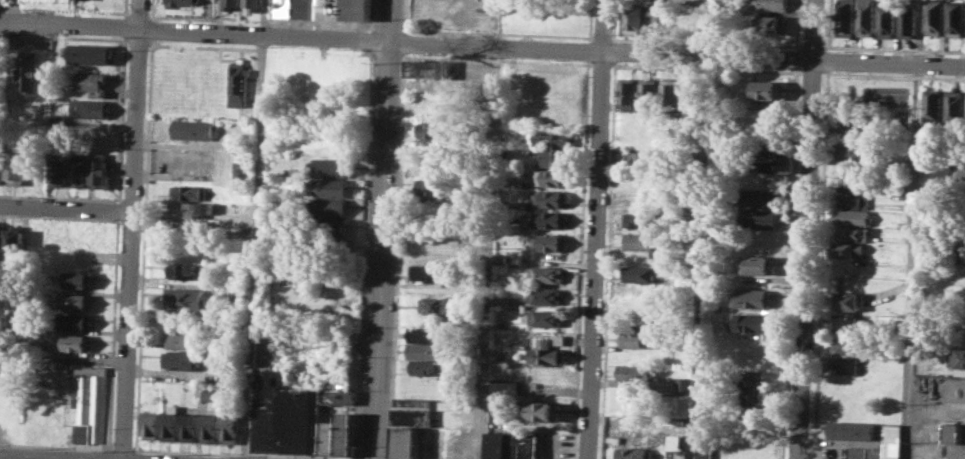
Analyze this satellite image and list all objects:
building: (177, 2)
building: (229, 3)
building: (251, 5)
building: (767, 5)
building: (325, 9)
road: (15, 11)
building: (633, 17)
building: (845, 17)
building: (865, 17)
building: (934, 17)
building: (956, 17)
building: (887, 18)
building: (663, 20)
building: (908, 21)
building: (772, 24)
road: (482, 46)
building: (87, 53)
building: (430, 69)
building: (28, 71)
building: (89, 81)
building: (238, 83)
building: (768, 89)
building: (651, 91)
building: (672, 91)
building: (630, 92)
building: (933, 104)
building: (954, 105)
building: (86, 107)
building: (192, 128)
building: (432, 130)
building: (850, 130)
building: (555, 138)
building: (770, 146)
building: (854, 151)
building: (555, 157)
building: (645, 158)
building: (776, 164)
building: (1, 165)
building: (18, 166)
building: (57, 167)
building: (324, 168)
building: (76, 170)
building: (98, 171)
building: (961, 171)
building: (241, 172)
building: (550, 177)
building: (640, 178)
building: (855, 183)
building: (434, 186)
building: (326, 187)
building: (962, 189)
building: (188, 191)
building: (552, 197)
building: (760, 197)
building: (638, 198)
building: (855, 200)
building: (327, 206)
road: (66, 207)
building: (189, 209)
building: (855, 217)
building: (760, 218)
building: (549, 219)
building: (638, 219)
building: (327, 228)
road: (132, 229)
road: (256, 229)
road: (382, 229)
road: (595, 229)
road: (699, 229)
road: (805, 229)
building: (853, 233)
building: (14, 239)
building: (551, 241)
building: (640, 241)
building: (847, 250)
road: (489, 253)
building: (961, 253)
building: (501, 258)
building: (517, 259)
road: (912, 262)
building: (757, 264)
building: (180, 269)
building: (431, 271)
building: (546, 273)
building: (639, 274)
building: (77, 279)
building: (239, 293)
building: (545, 295)
building: (754, 297)
building: (186, 298)
building: (848, 300)
building: (74, 301)
building: (512, 301)
building: (435, 306)
building: (546, 317)
building: (72, 320)
building: (752, 322)
building: (848, 322)
building: (424, 333)
building: (557, 339)
building: (632, 339)
building: (178, 340)
building: (544, 341)
building: (73, 343)
building: (268, 345)
building: (846, 345)
building: (749, 348)
building: (424, 350)
building: (547, 355)
building: (956, 358)
building: (180, 360)
building: (847, 365)
building: (425, 367)
building: (635, 372)
building: (749, 376)
building: (682, 385)
building: (504, 387)
building: (752, 394)
building: (339, 397)
building: (86, 400)
building: (413, 403)
building: (539, 411)
building: (755, 411)
building: (286, 413)
building: (413, 417)
building: (171, 423)
building: (151, 425)
building: (190, 427)
building: (210, 428)
building: (230, 429)
building: (852, 430)
building: (345, 433)
building: (954, 433)
building: (328, 437)
building: (893, 441)
building: (405, 442)
road: (56, 445)
building: (512, 445)
building: (744, 445)
road: (121, 446)
building: (705, 447)
building: (632, 452)
road: (240, 453)
building: (677, 453)
building: (857, 453)
building: (876, 453)

